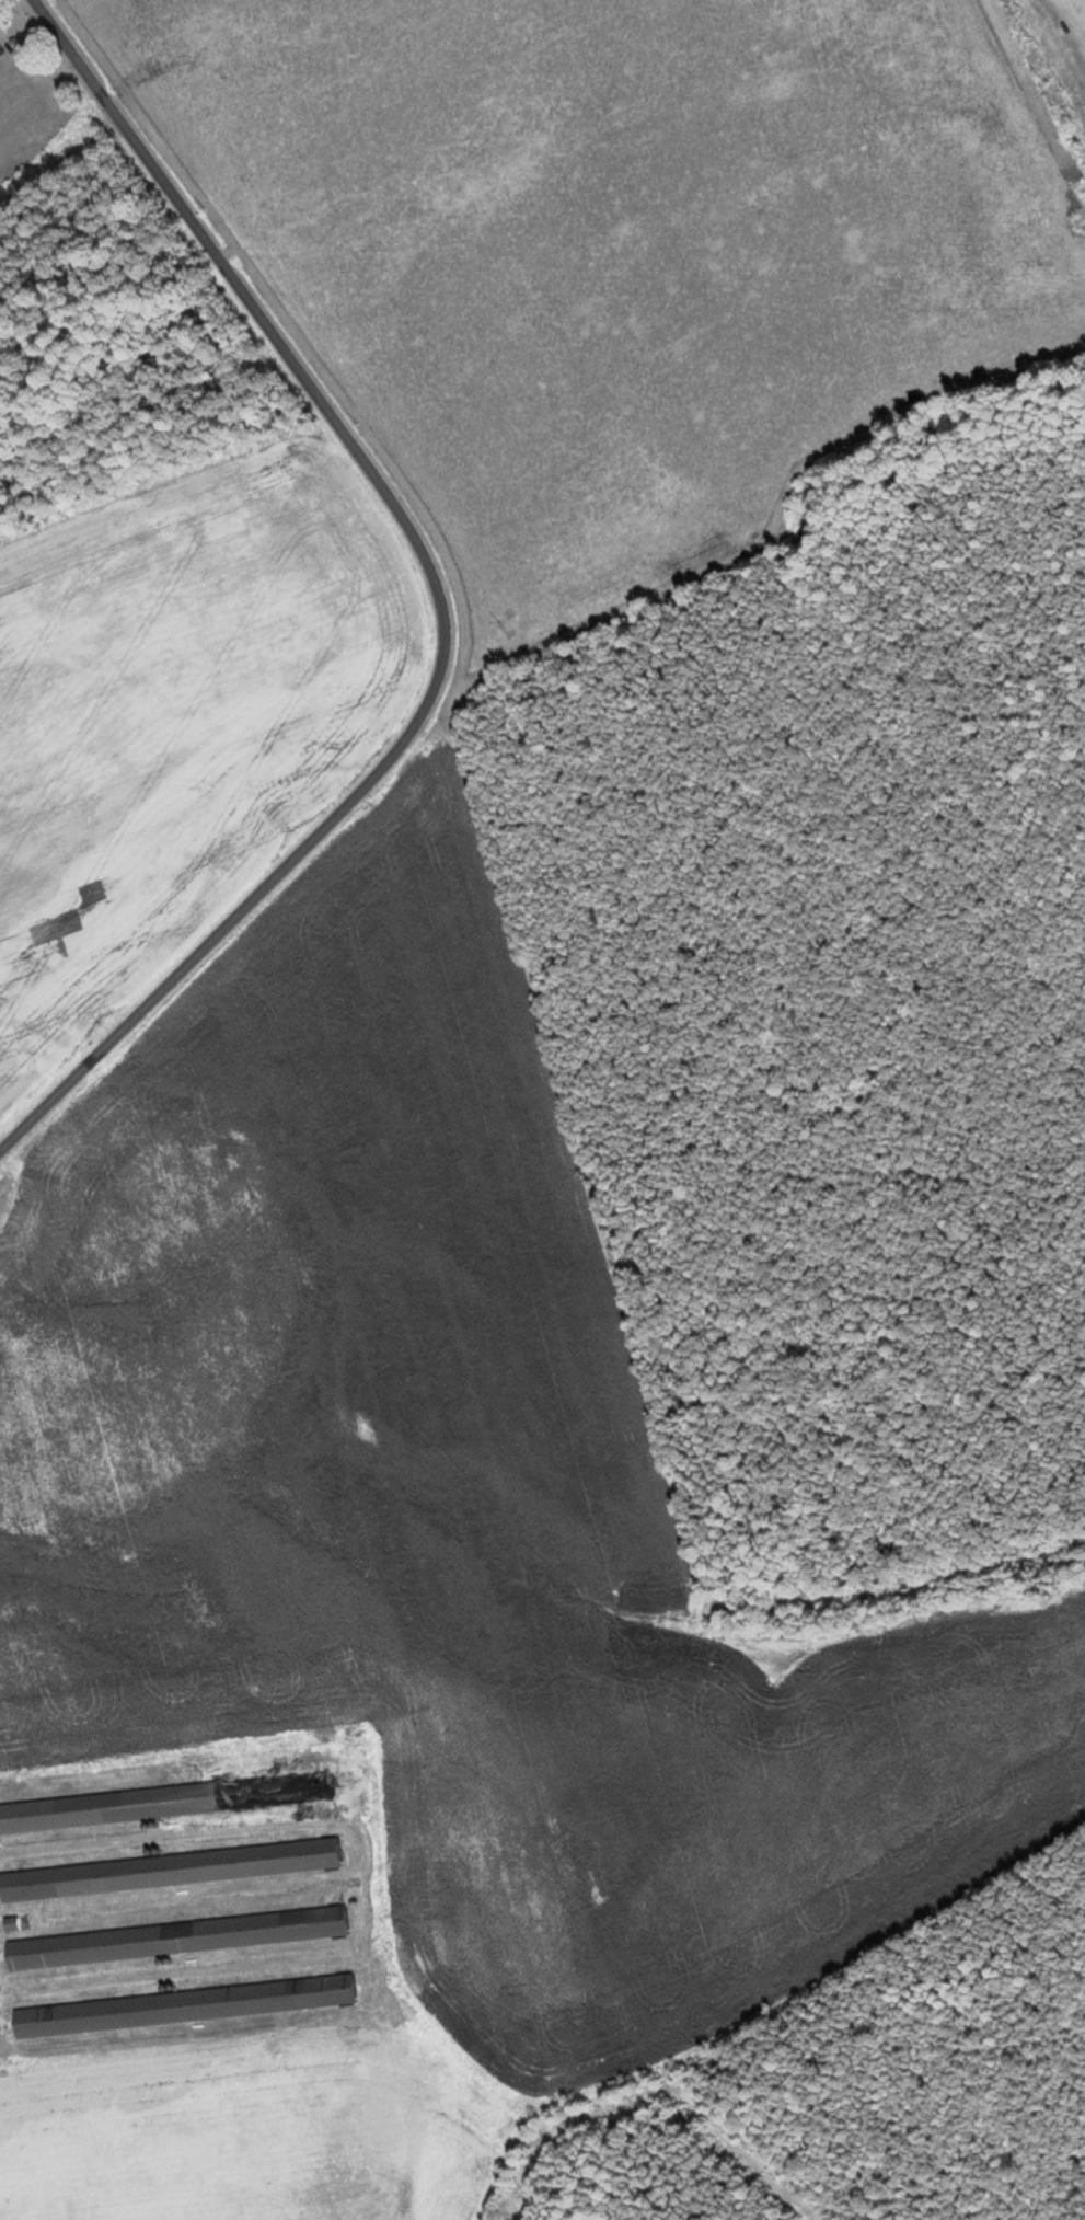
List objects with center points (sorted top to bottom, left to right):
building: (1, 50)
road: (442, 600)
road: (20, 1143)
building: (166, 1802)
building: (170, 1871)
building: (15, 1923)
building: (176, 1939)
building: (183, 2006)

